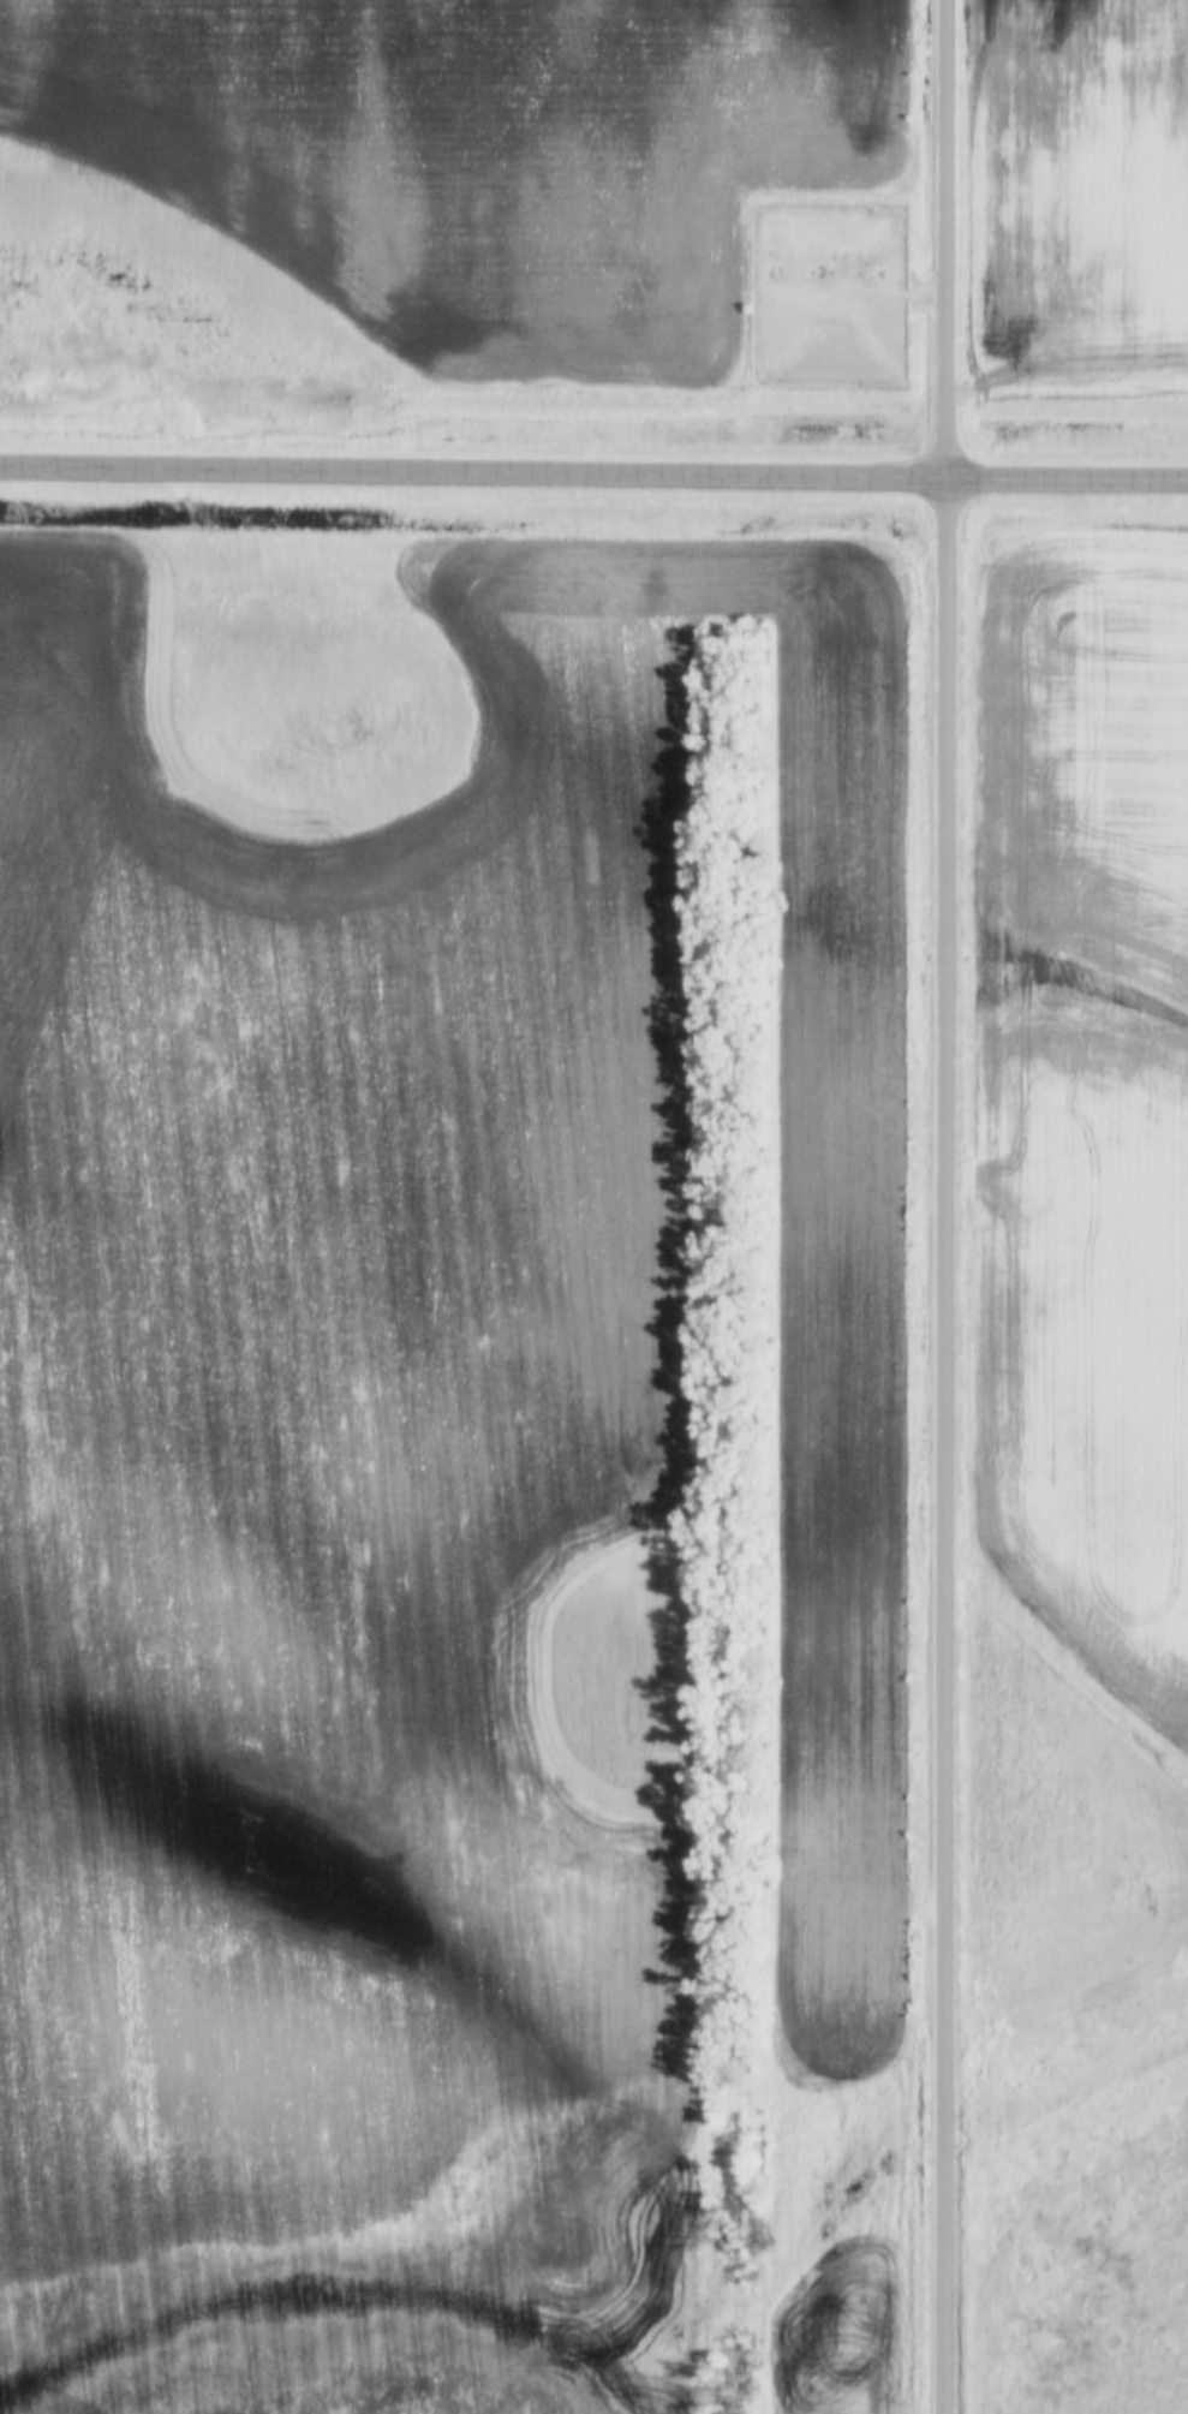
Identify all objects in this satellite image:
crop: (1079, 197)
road: (593, 475)
road: (947, 1206)
crop: (1077, 1269)
crop: (412, 1424)
crop: (84, 2380)
crop: (866, 2401)

